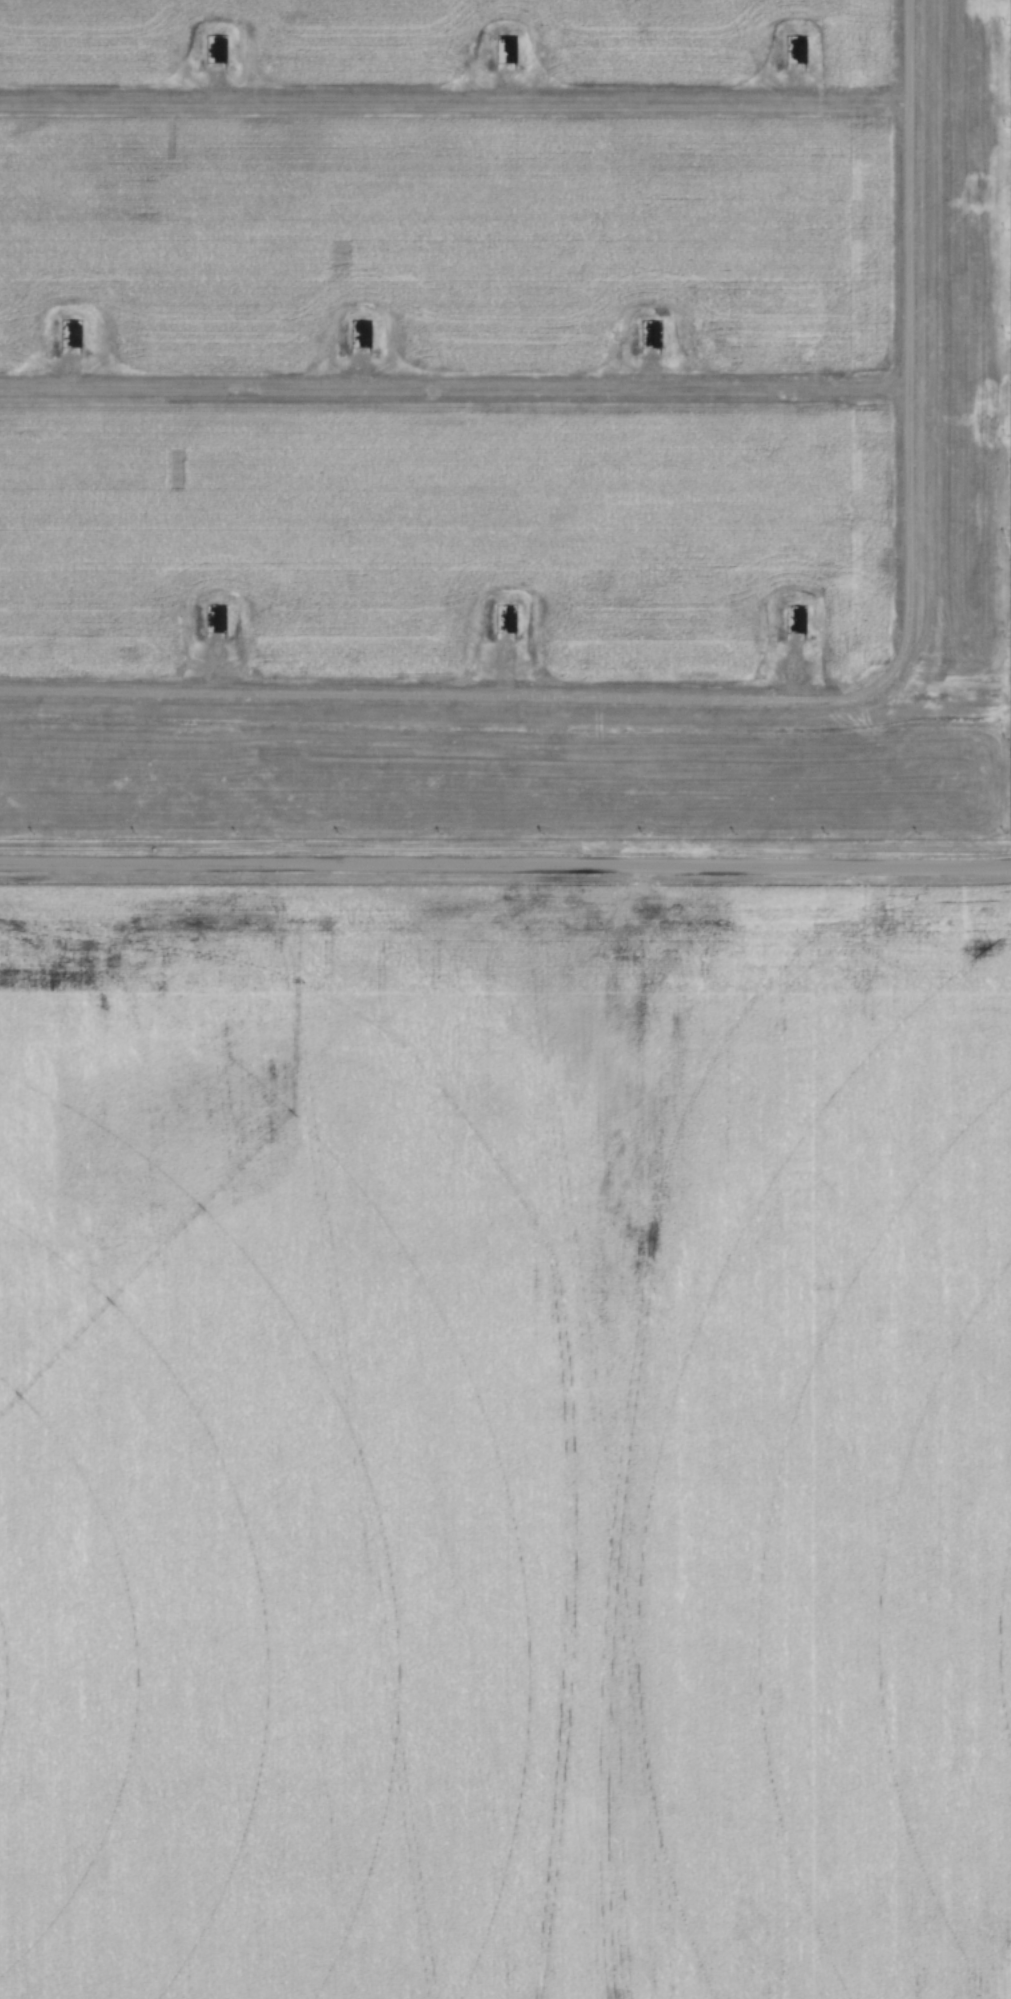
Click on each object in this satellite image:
building: (215, 49)
building: (505, 49)
building: (795, 50)
road: (454, 97)
building: (650, 332)
building: (70, 333)
building: (360, 333)
road: (451, 384)
building: (214, 618)
building: (505, 618)
building: (795, 618)
road: (787, 697)
road: (505, 862)

